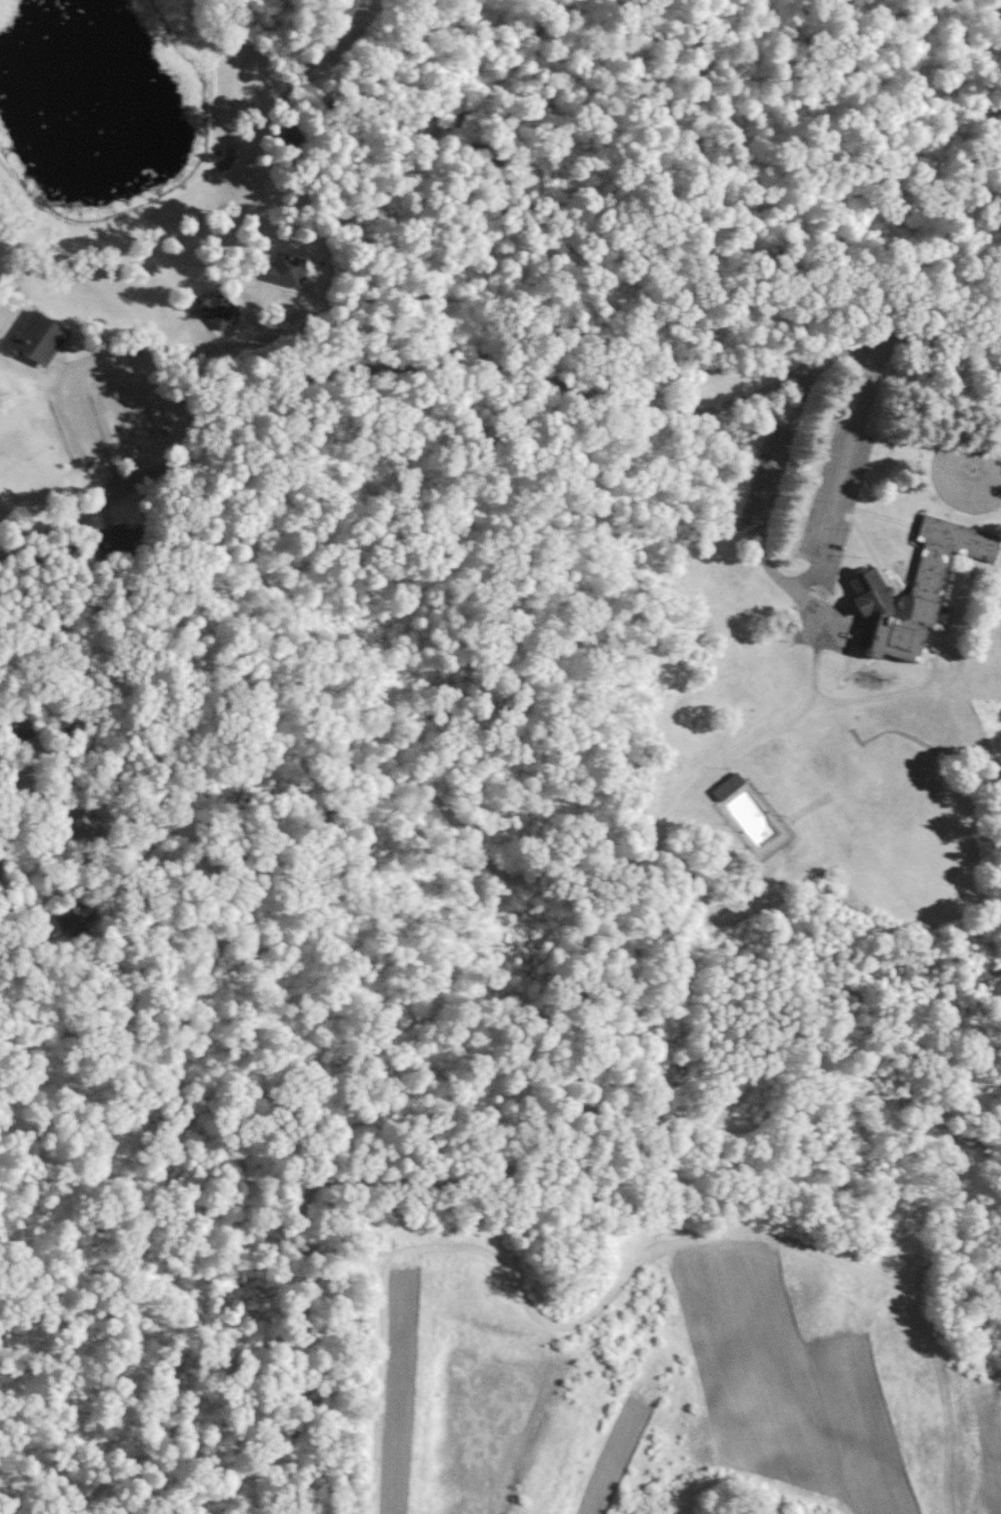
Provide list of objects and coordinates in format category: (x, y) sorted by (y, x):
building: (286, 271)
building: (219, 311)
building: (36, 339)
road: (479, 386)
road: (868, 387)
road: (784, 449)
parking lot: (769, 477)
road: (837, 499)
parking lot: (836, 501)
road: (845, 515)
road: (853, 523)
road: (775, 574)
building: (916, 588)
road: (810, 601)
road: (823, 630)
parking lot: (828, 630)
road: (907, 692)
road: (777, 733)
building: (728, 786)
park: (909, 844)

